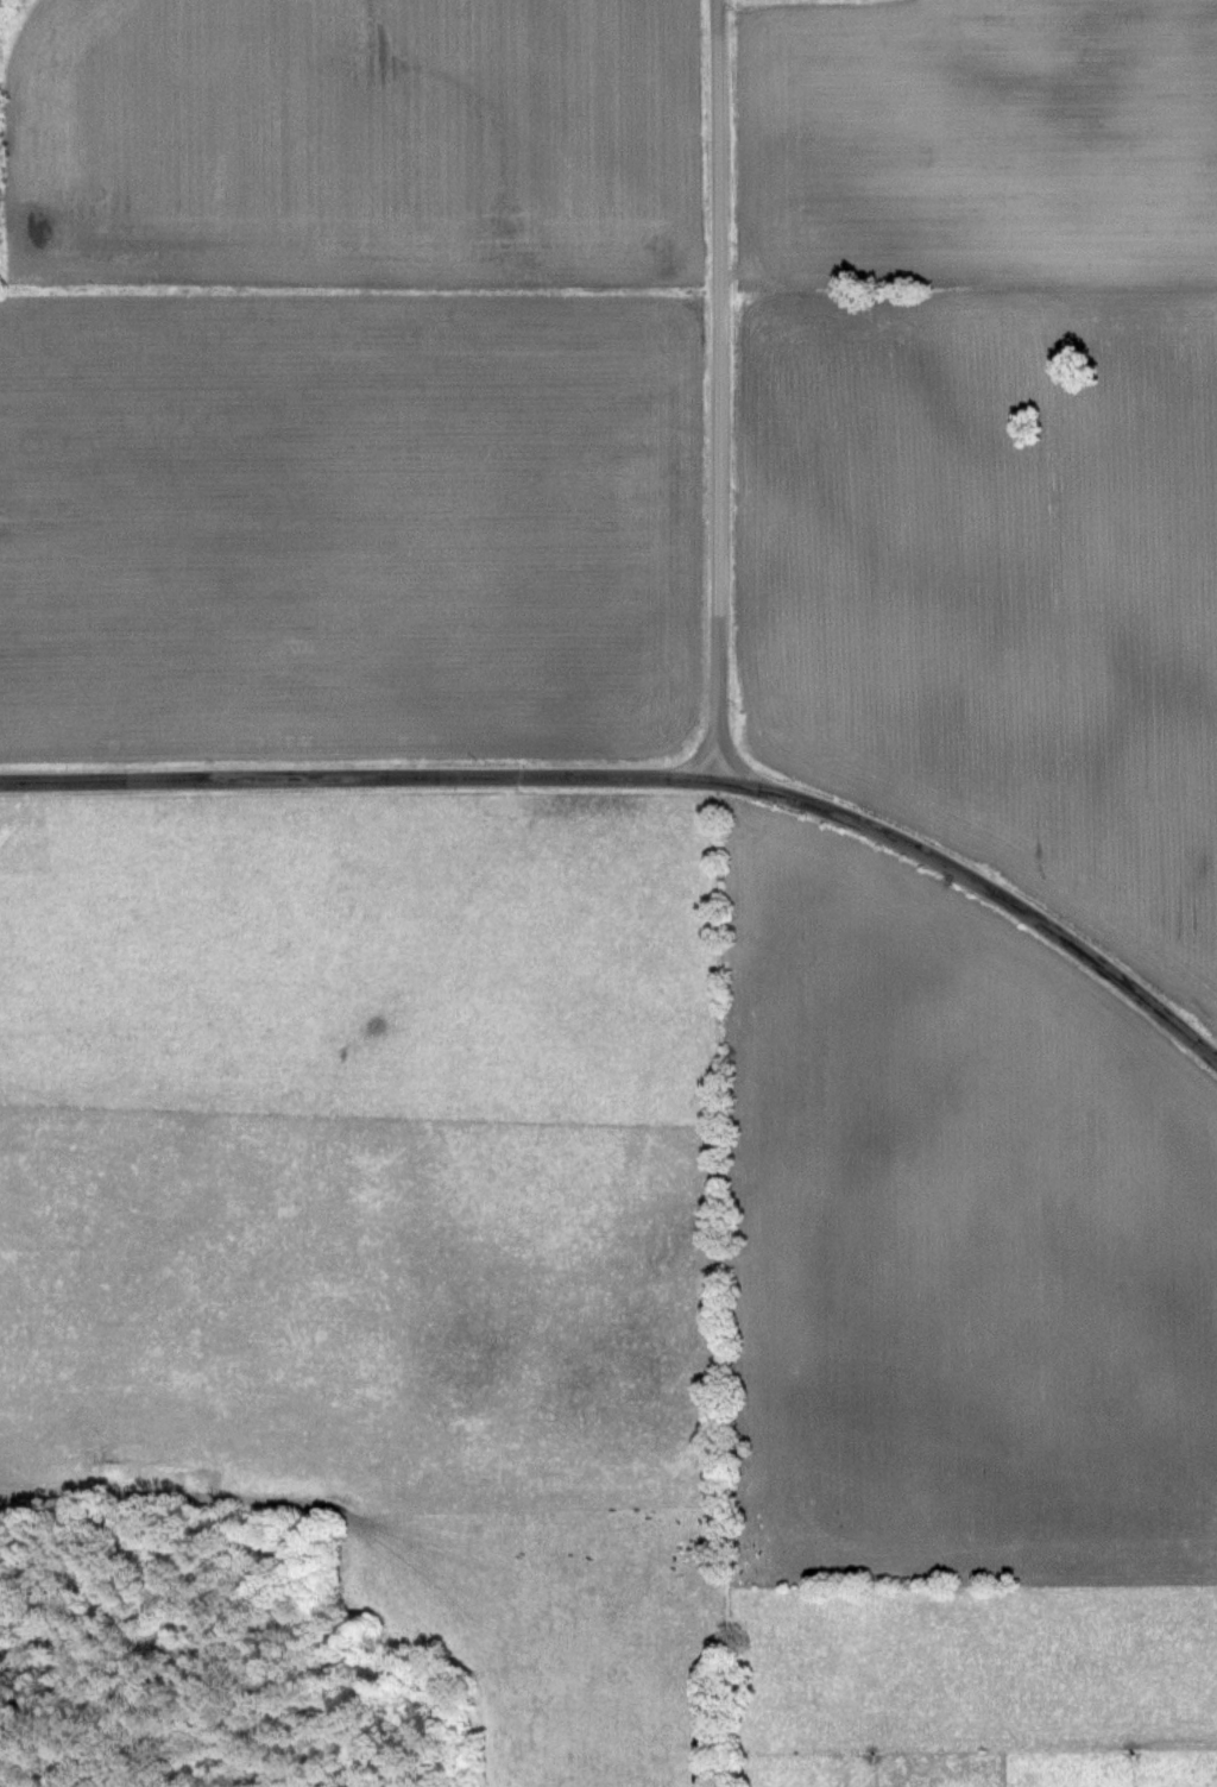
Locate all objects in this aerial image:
road: (715, 390)
road: (649, 779)

